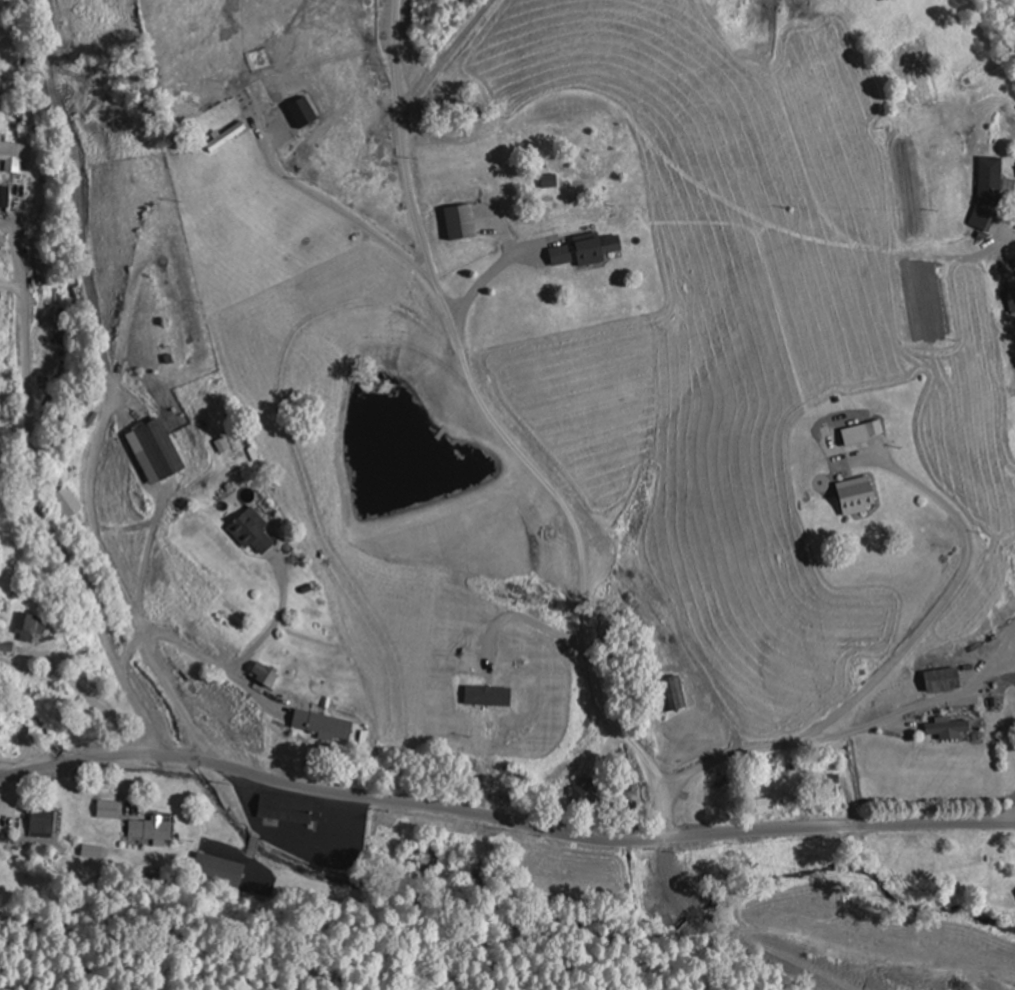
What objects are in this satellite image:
road: (980, 53)
building: (228, 136)
building: (16, 155)
building: (991, 179)
building: (554, 180)
building: (5, 197)
building: (38, 199)
building: (983, 218)
road: (353, 219)
building: (464, 223)
building: (592, 249)
building: (176, 325)
building: (47, 394)
road: (103, 422)
road: (505, 435)
building: (162, 451)
building: (860, 493)
road: (33, 506)
building: (255, 530)
building: (35, 624)
building: (269, 673)
building: (945, 678)
building: (678, 692)
road: (839, 711)
building: (327, 723)
building: (950, 725)
road: (33, 770)
building: (837, 782)
building: (588, 790)
building: (765, 805)
building: (109, 808)
building: (289, 808)
building: (44, 821)
building: (152, 826)
road: (537, 829)
building: (425, 855)
building: (221, 870)
building: (478, 877)

